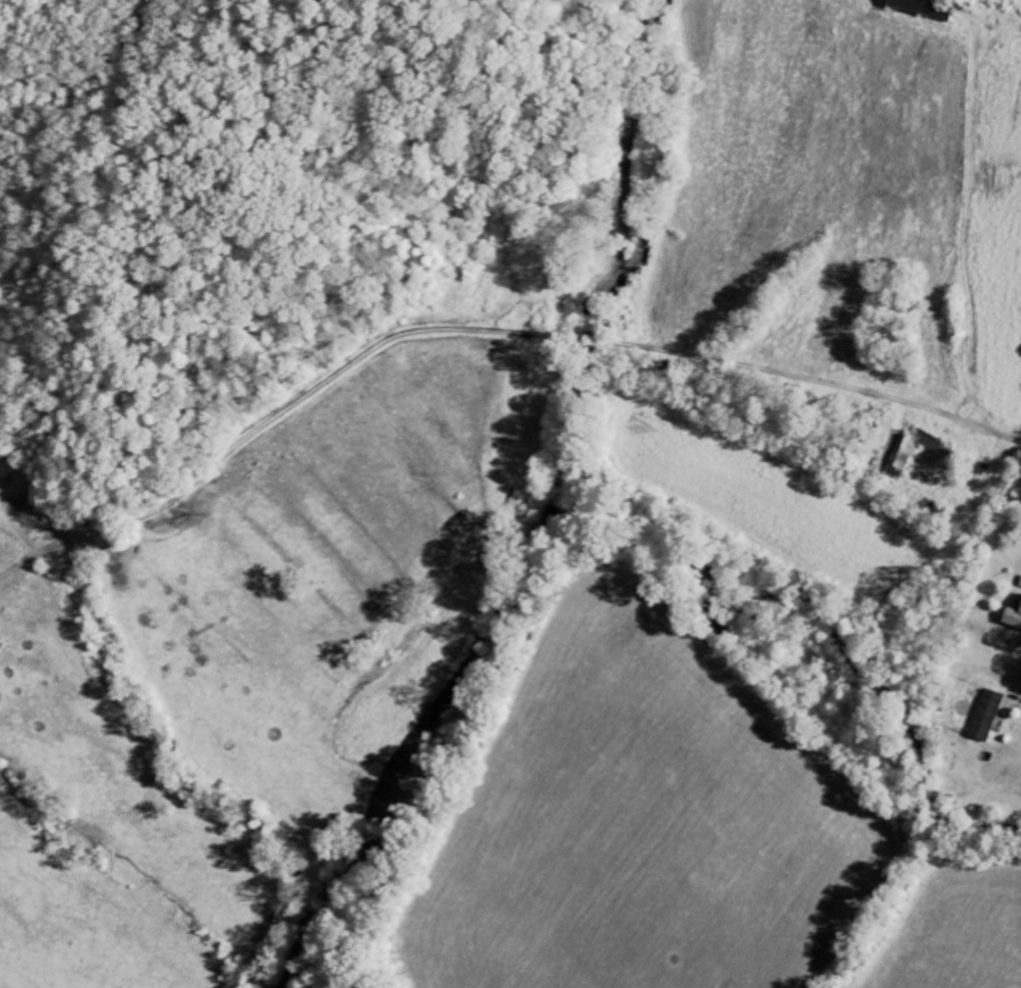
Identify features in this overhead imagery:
building: (920, 9)
road: (1012, 418)
building: (899, 465)
building: (1020, 587)
building: (1013, 618)
building: (986, 716)

